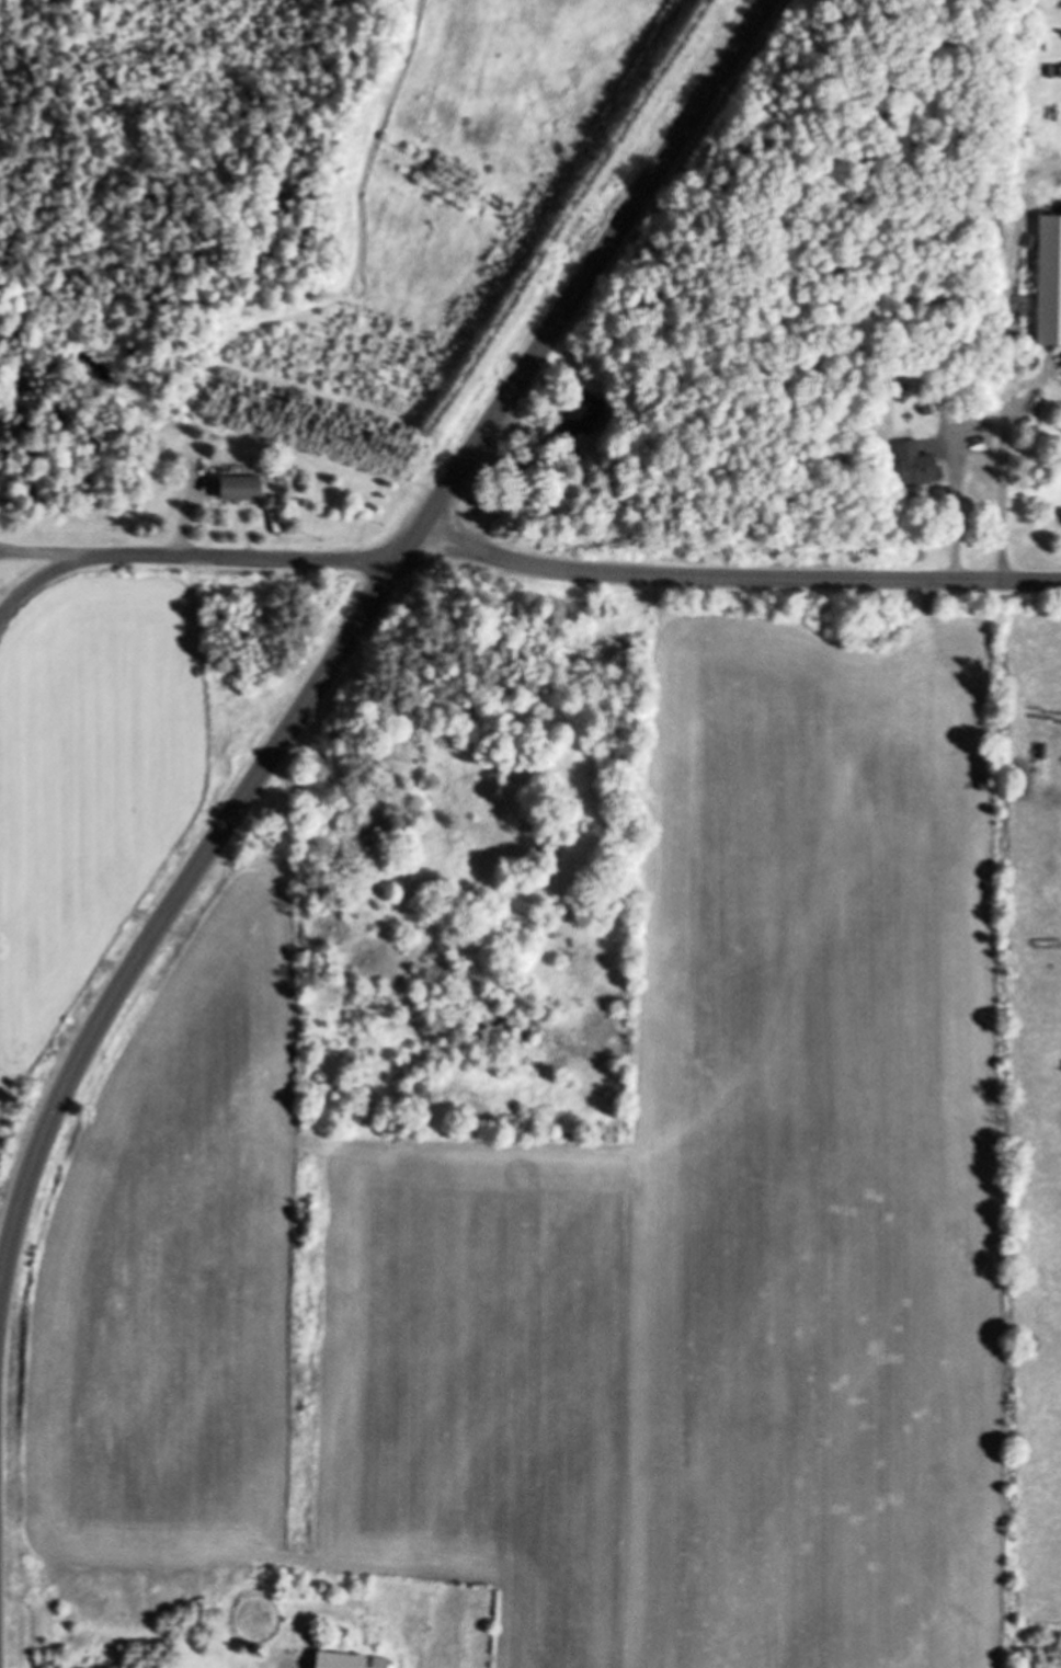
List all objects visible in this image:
building: (1036, 275)
building: (580, 415)
building: (911, 462)
building: (238, 487)
road: (521, 561)
road: (2, 616)
road: (354, 631)
building: (347, 1660)

